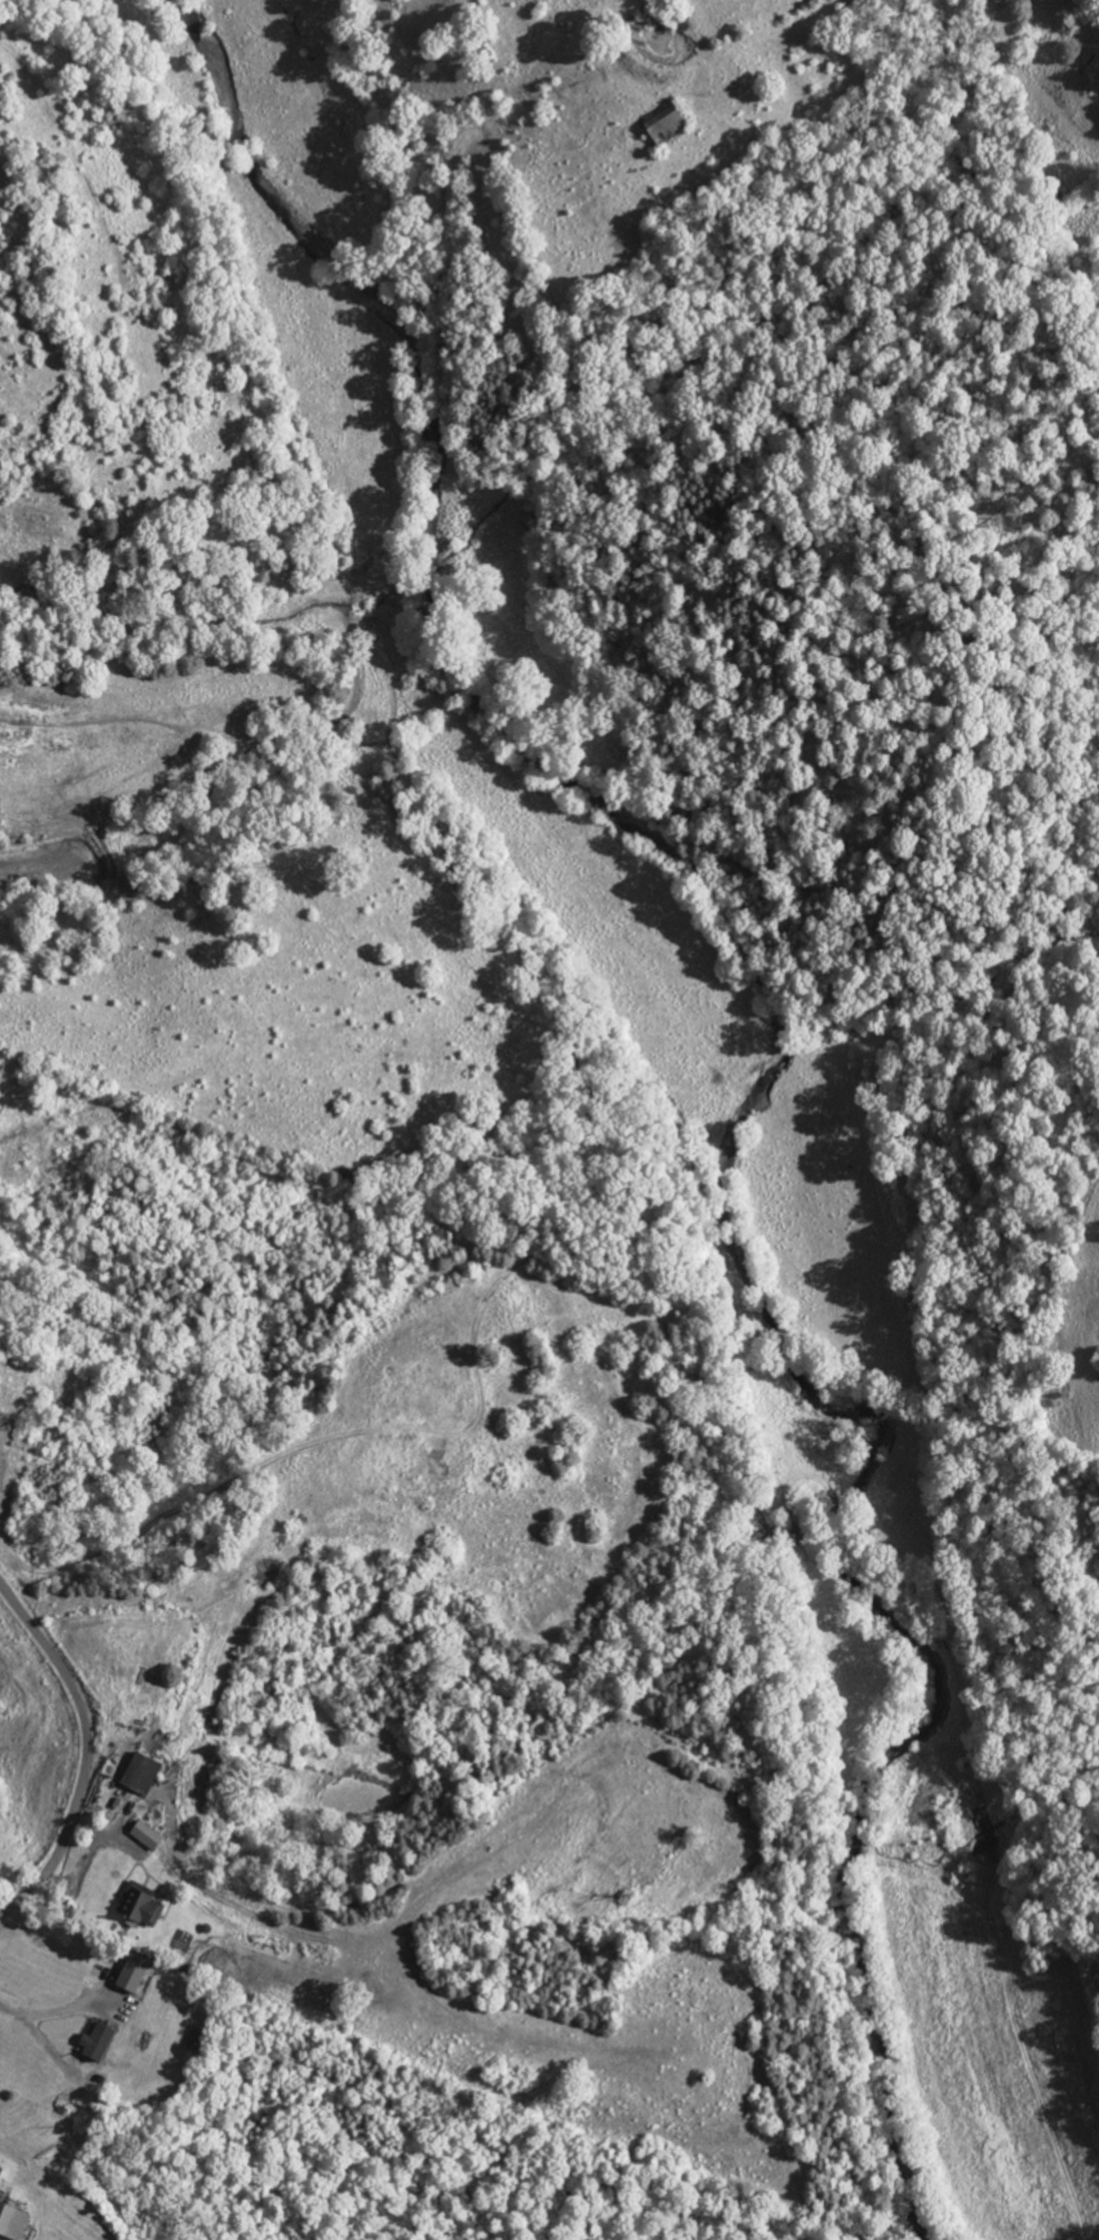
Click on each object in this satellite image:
building: (665, 127)
road: (87, 1752)
building: (140, 1774)
building: (146, 1836)
building: (139, 1906)
building: (130, 1977)
road: (41, 2014)
building: (96, 2044)
building: (12, 2222)

